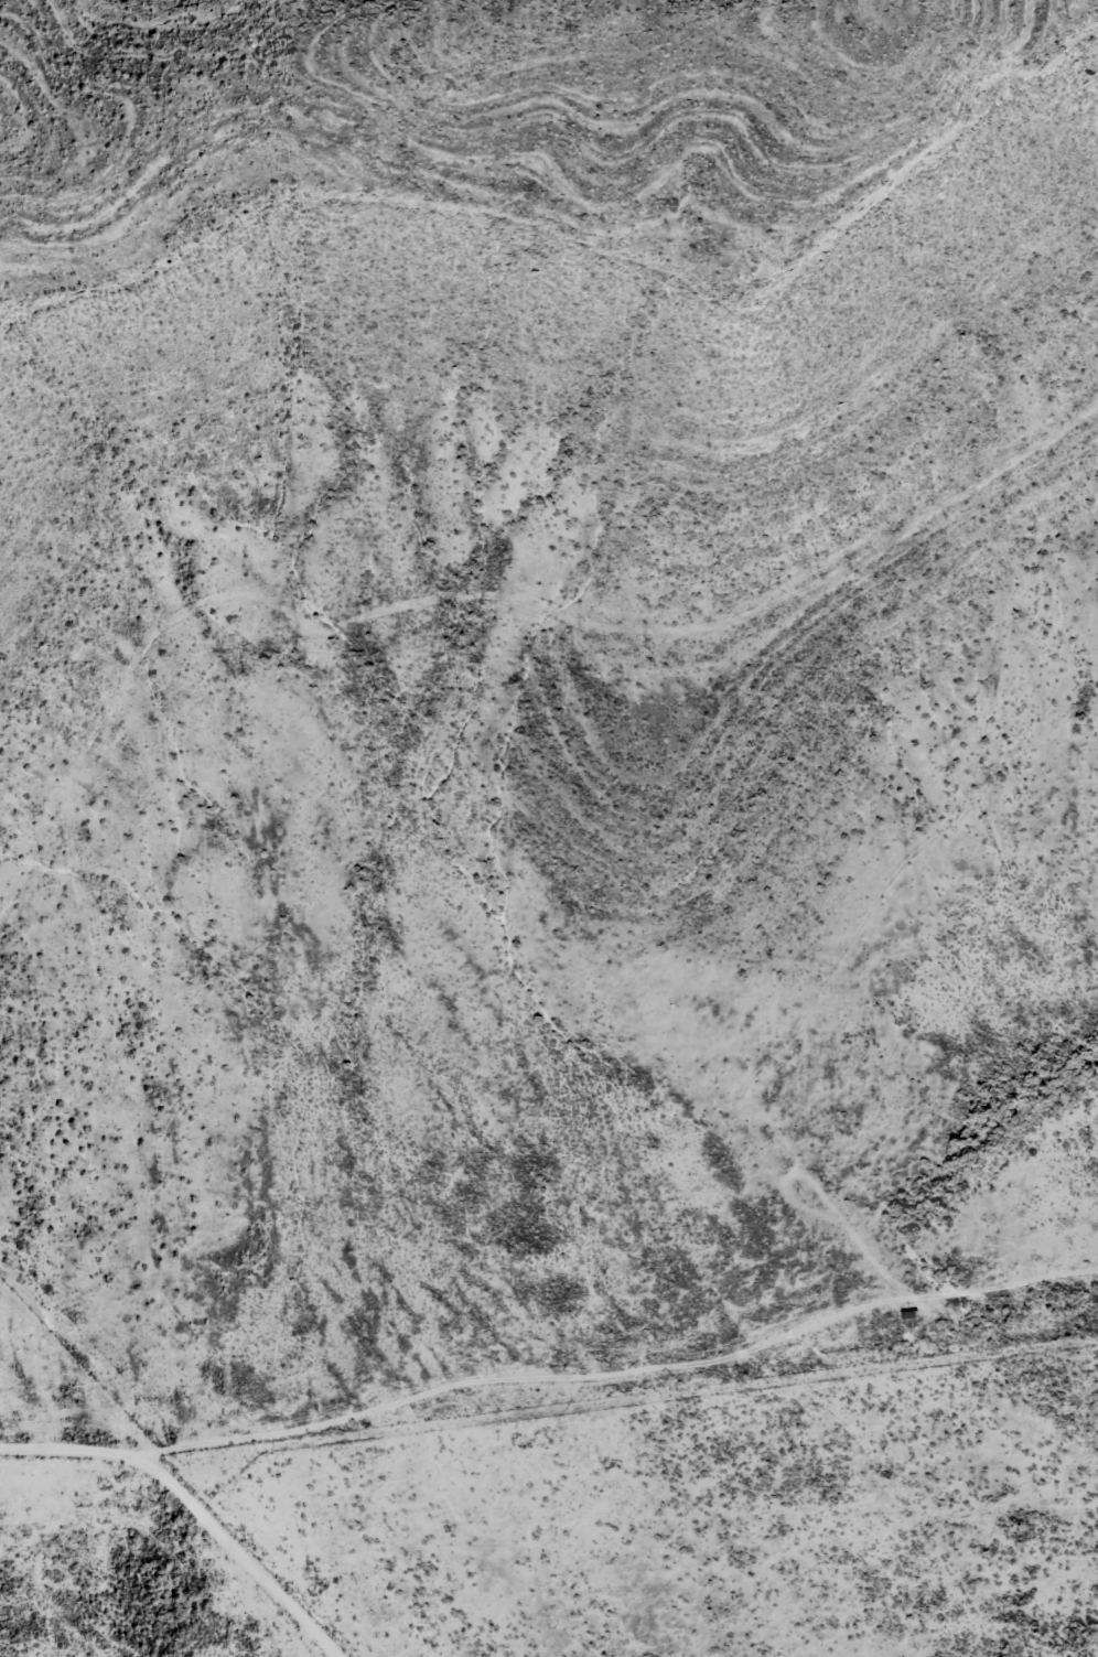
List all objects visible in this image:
road: (186, 1509)

